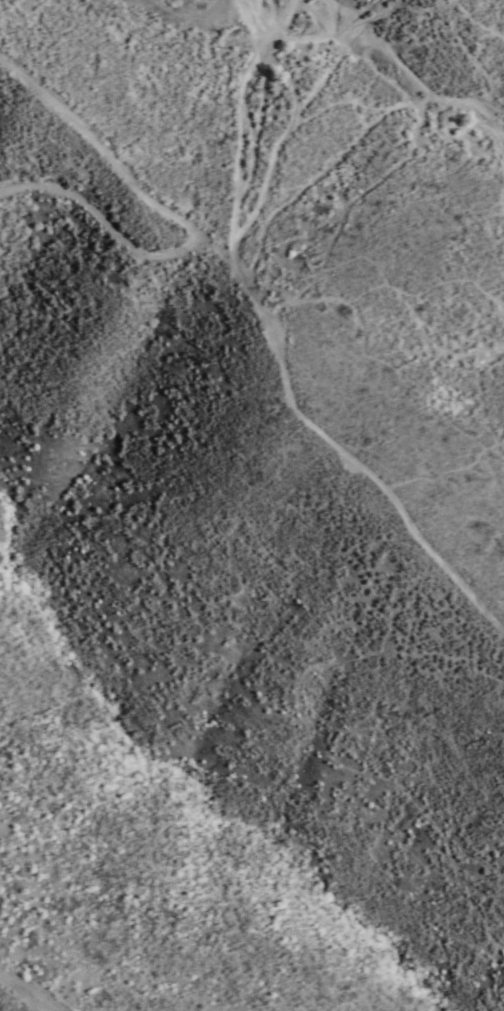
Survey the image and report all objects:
road: (281, 147)
road: (369, 463)
road: (19, 997)

